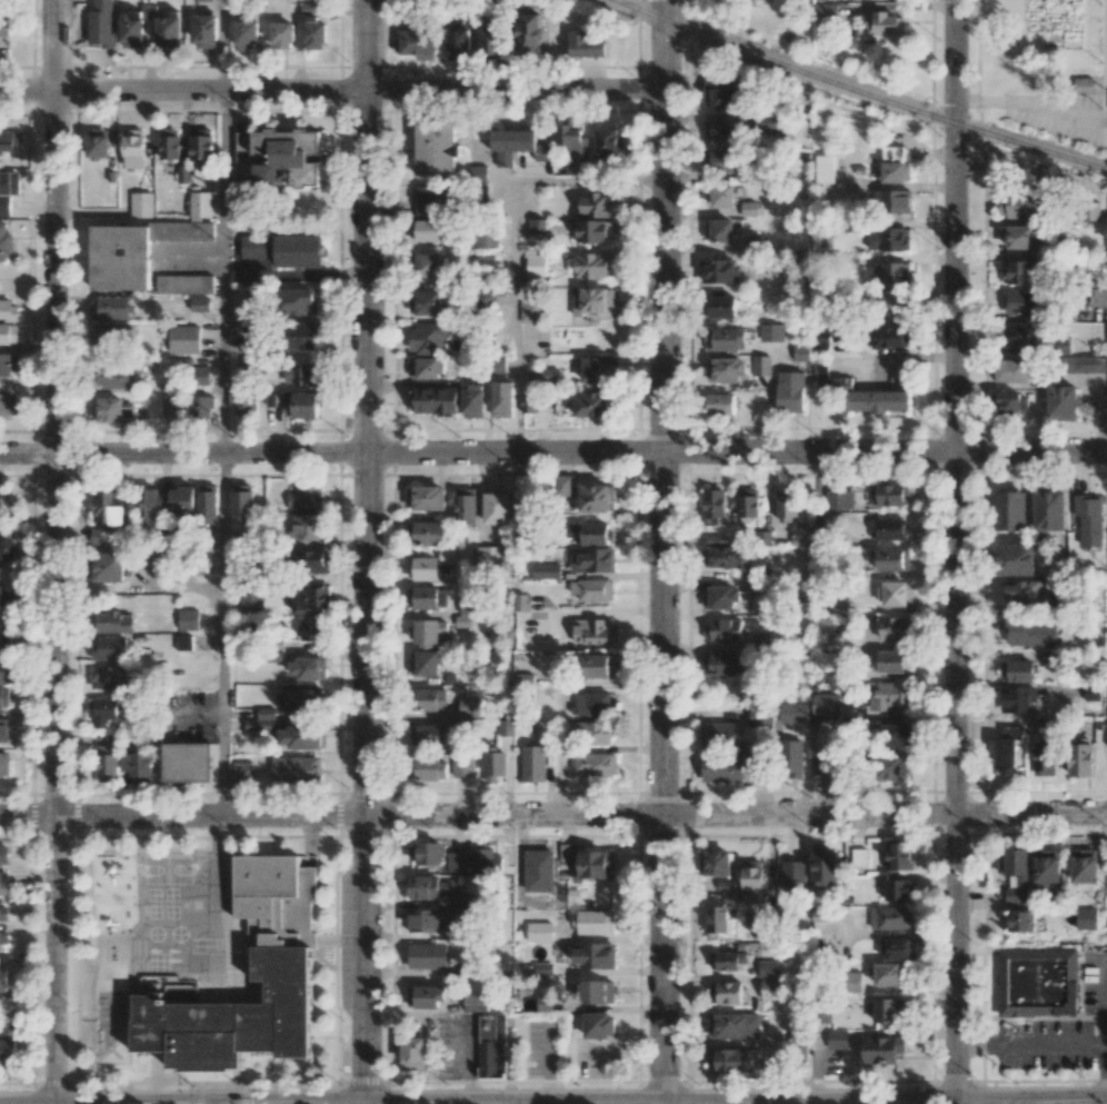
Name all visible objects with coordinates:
building: (202, 0)
building: (825, 13)
building: (884, 22)
building: (3, 27)
building: (312, 28)
building: (132, 29)
building: (169, 30)
building: (205, 31)
building: (246, 34)
building: (282, 34)
building: (532, 34)
building: (490, 41)
building: (458, 42)
building: (418, 43)
road: (223, 44)
building: (586, 44)
building: (1081, 84)
road: (332, 90)
railway: (858, 90)
building: (721, 92)
road: (1106, 95)
road: (980, 99)
road: (1057, 111)
building: (725, 131)
building: (572, 140)
building: (9, 141)
building: (607, 141)
building: (98, 143)
building: (170, 143)
building: (516, 145)
building: (133, 148)
building: (201, 148)
building: (436, 148)
building: (288, 158)
building: (719, 161)
building: (894, 165)
building: (478, 171)
building: (9, 182)
building: (720, 196)
building: (426, 200)
building: (891, 200)
building: (201, 203)
building: (141, 205)
building: (595, 205)
building: (1018, 205)
building: (4, 206)
building: (749, 209)
building: (537, 226)
building: (183, 230)
building: (425, 230)
building: (592, 230)
building: (718, 230)
building: (1020, 236)
building: (487, 237)
building: (888, 239)
building: (4, 241)
road: (516, 241)
building: (283, 249)
building: (485, 260)
building: (133, 263)
building: (594, 265)
building: (430, 266)
building: (536, 266)
building: (719, 270)
road: (223, 271)
building: (1020, 271)
building: (890, 272)
building: (486, 295)
building: (594, 300)
building: (297, 301)
building: (1024, 301)
building: (425, 302)
building: (889, 302)
building: (200, 304)
building: (721, 306)
building: (110, 308)
building: (9, 310)
building: (529, 311)
building: (771, 331)
building: (9, 334)
building: (1019, 334)
building: (302, 335)
building: (249, 336)
building: (104, 337)
building: (184, 338)
building: (427, 338)
building: (725, 338)
building: (1060, 346)
building: (801, 352)
building: (251, 364)
building: (498, 364)
building: (1084, 364)
building: (761, 365)
building: (426, 368)
building: (597, 368)
building: (8, 369)
building: (726, 369)
building: (1011, 369)
building: (303, 374)
building: (549, 374)
building: (200, 375)
building: (114, 378)
building: (790, 391)
building: (860, 394)
building: (502, 399)
building: (435, 400)
building: (1061, 400)
building: (472, 401)
building: (528, 401)
building: (8, 404)
building: (171, 404)
building: (243, 404)
building: (591, 404)
building: (720, 404)
building: (1011, 404)
building: (301, 405)
building: (199, 407)
building: (110, 409)
road: (552, 451)
building: (889, 494)
building: (306, 497)
building: (426, 497)
building: (597, 497)
building: (839, 499)
building: (181, 500)
building: (242, 501)
building: (466, 504)
building: (786, 504)
building: (150, 505)
building: (497, 505)
building: (207, 506)
building: (712, 506)
building: (747, 506)
building: (107, 507)
building: (1010, 510)
building: (1049, 510)
building: (1088, 519)
building: (308, 527)
building: (888, 529)
building: (427, 533)
building: (590, 534)
building: (807, 534)
building: (98, 535)
building: (4, 548)
road: (53, 551)
road: (366, 551)
road: (662, 551)
road: (956, 551)
building: (447, 555)
building: (486, 555)
building: (722, 557)
building: (892, 559)
building: (1015, 559)
building: (594, 560)
building: (311, 561)
building: (108, 567)
building: (422, 568)
building: (546, 570)
building: (592, 589)
building: (1026, 590)
building: (896, 593)
building: (1, 597)
building: (427, 597)
building: (720, 597)
building: (310, 598)
building: (250, 600)
building: (521, 601)
building: (471, 603)
building: (188, 619)
building: (462, 620)
building: (114, 621)
building: (821, 625)
building: (894, 628)
building: (312, 629)
building: (724, 629)
building: (427, 631)
building: (594, 631)
building: (1029, 633)
building: (3, 635)
road: (222, 635)
building: (183, 641)
building: (109, 647)
building: (894, 660)
building: (822, 662)
building: (423, 664)
building: (721, 664)
building: (598, 666)
building: (308, 667)
building: (1017, 670)
building: (6, 672)
building: (108, 677)
building: (522, 678)
building: (1091, 693)
building: (888, 695)
building: (4, 697)
building: (1018, 698)
building: (428, 699)
building: (300, 700)
building: (591, 703)
building: (822, 704)
building: (468, 706)
building: (102, 712)
building: (757, 714)
building: (261, 719)
building: (541, 728)
building: (3, 729)
building: (591, 732)
building: (720, 734)
building: (427, 735)
building: (896, 735)
building: (298, 737)
building: (1007, 746)
building: (1079, 757)
building: (796, 758)
building: (1044, 758)
building: (187, 762)
building: (495, 762)
building: (107, 763)
building: (533, 763)
building: (4, 764)
building: (595, 764)
building: (822, 764)
building: (462, 765)
building: (137, 766)
building: (892, 766)
building: (427, 768)
building: (721, 768)
building: (296, 769)
building: (242, 773)
road: (553, 816)
building: (425, 853)
building: (3, 854)
building: (858, 855)
building: (898, 856)
building: (485, 861)
building: (456, 862)
building: (587, 862)
building: (716, 863)
building: (1084, 865)
building: (824, 866)
building: (538, 871)
building: (1048, 871)
building: (1015, 873)
building: (792, 875)
building: (751, 881)
building: (3, 883)
building: (426, 886)
building: (899, 889)
building: (459, 899)
building: (2, 908)
building: (889, 917)
building: (1087, 918)
building: (423, 921)
building: (717, 921)
building: (1021, 921)
building: (594, 922)
building: (539, 932)
building: (1, 942)
building: (900, 948)
building: (427, 955)
building: (594, 955)
building: (719, 961)
building: (283, 964)
building: (771, 968)
building: (887, 974)
building: (3, 978)
building: (1039, 981)
building: (854, 982)
building: (771, 988)
building: (596, 992)
building: (729, 992)
building: (425, 996)
building: (475, 1002)
building: (888, 1009)
building: (599, 1025)
building: (734, 1025)
building: (837, 1040)
building: (8, 1043)
road: (1033, 1044)
building: (491, 1045)
parking lot: (1045, 1045)
building: (881, 1048)
road: (1106, 1052)
building: (412, 1053)
building: (726, 1061)
traffic signals: (222, 1103)
road: (293, 1103)
road: (884, 1103)
road: (990, 1103)
road: (1047, 1103)

